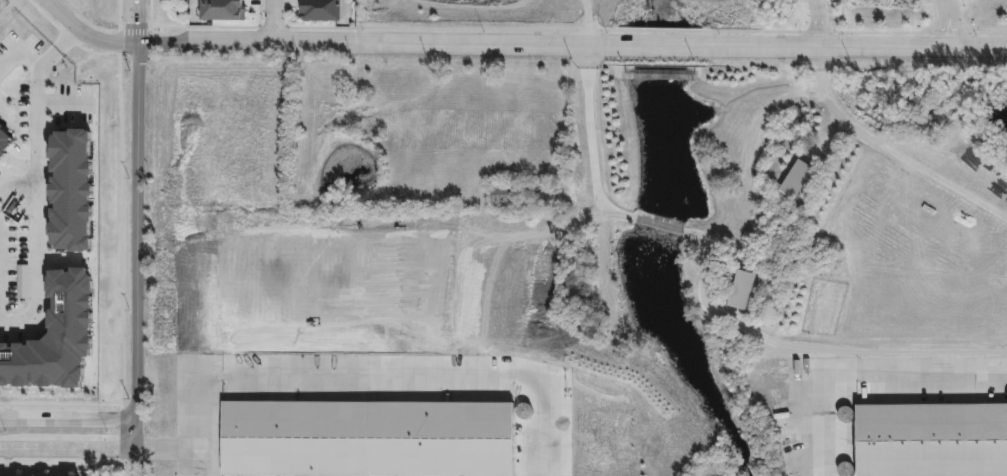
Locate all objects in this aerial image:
building: (320, 11)
building: (221, 12)
road: (136, 20)
road: (272, 20)
road: (817, 22)
road: (947, 23)
road: (83, 33)
road: (65, 38)
road: (571, 43)
road: (19, 51)
road: (47, 57)
building: (4, 142)
road: (888, 149)
road: (592, 180)
road: (17, 186)
building: (67, 191)
building: (499, 195)
road: (35, 207)
road: (134, 258)
building: (69, 307)
road: (240, 377)
road: (489, 378)
road: (861, 382)
road: (59, 404)
road: (66, 418)
building: (330, 437)
building: (931, 440)
road: (66, 447)
road: (179, 448)
road: (59, 464)

